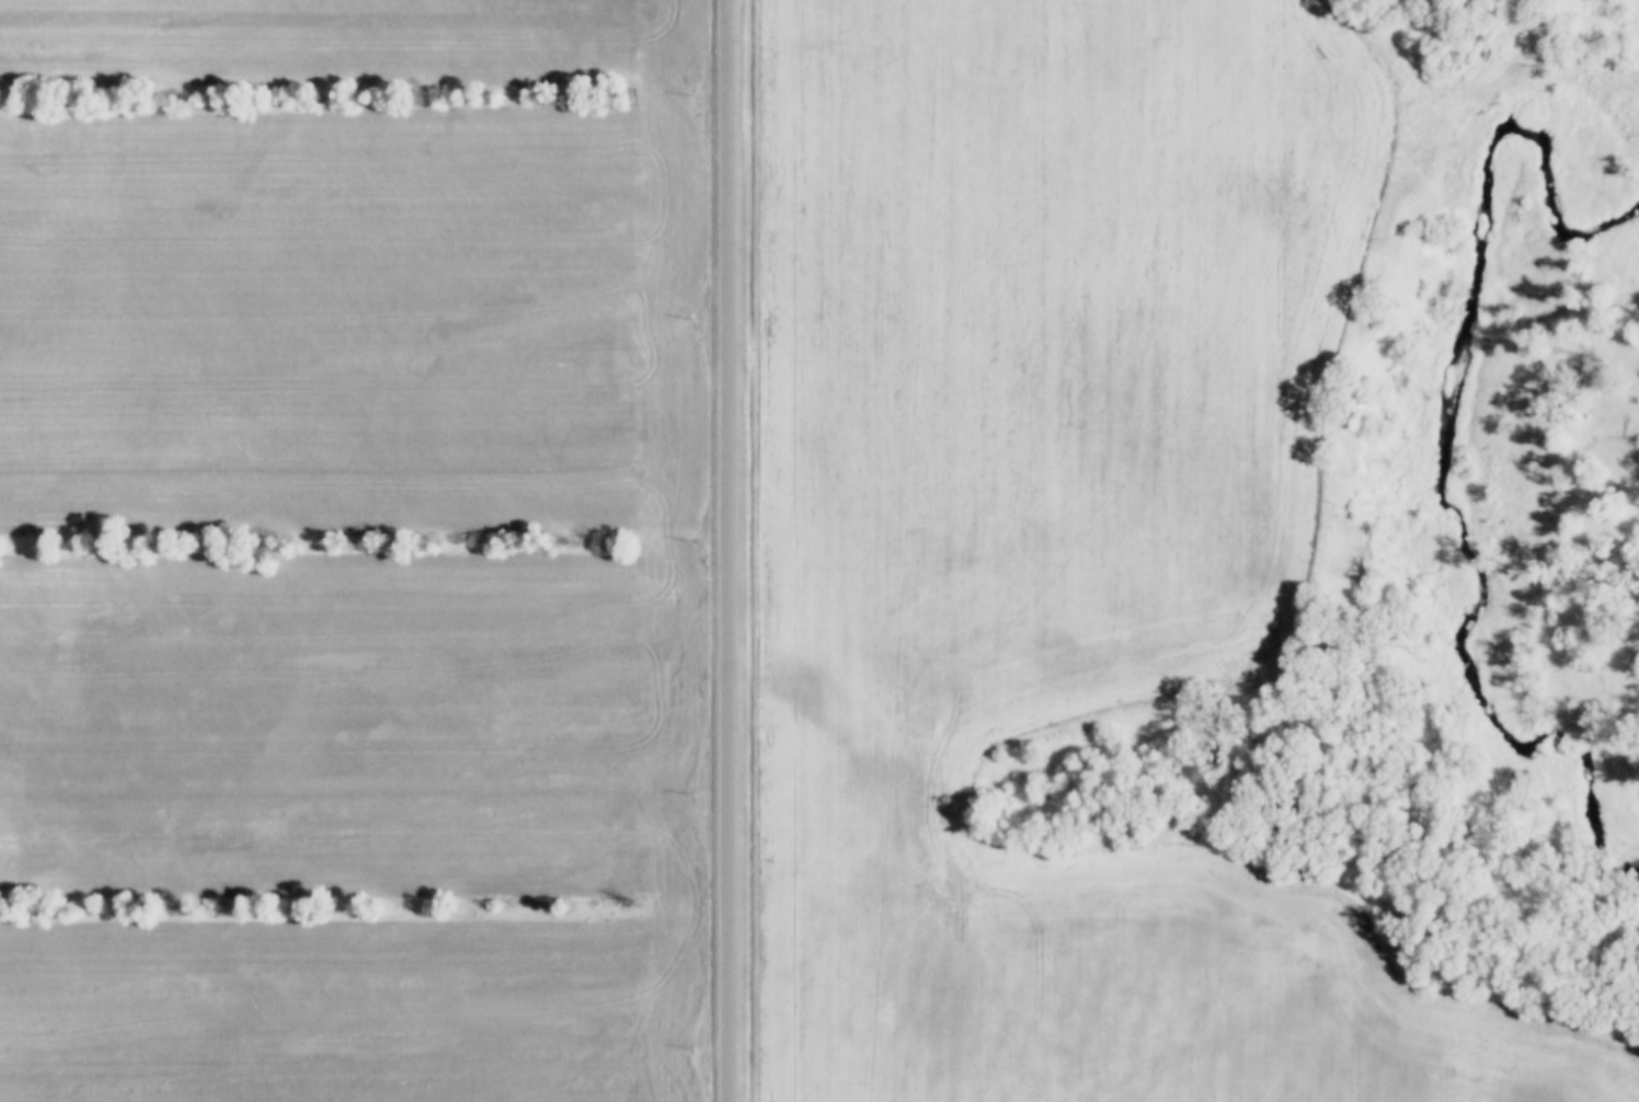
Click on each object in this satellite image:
road: (726, 550)

